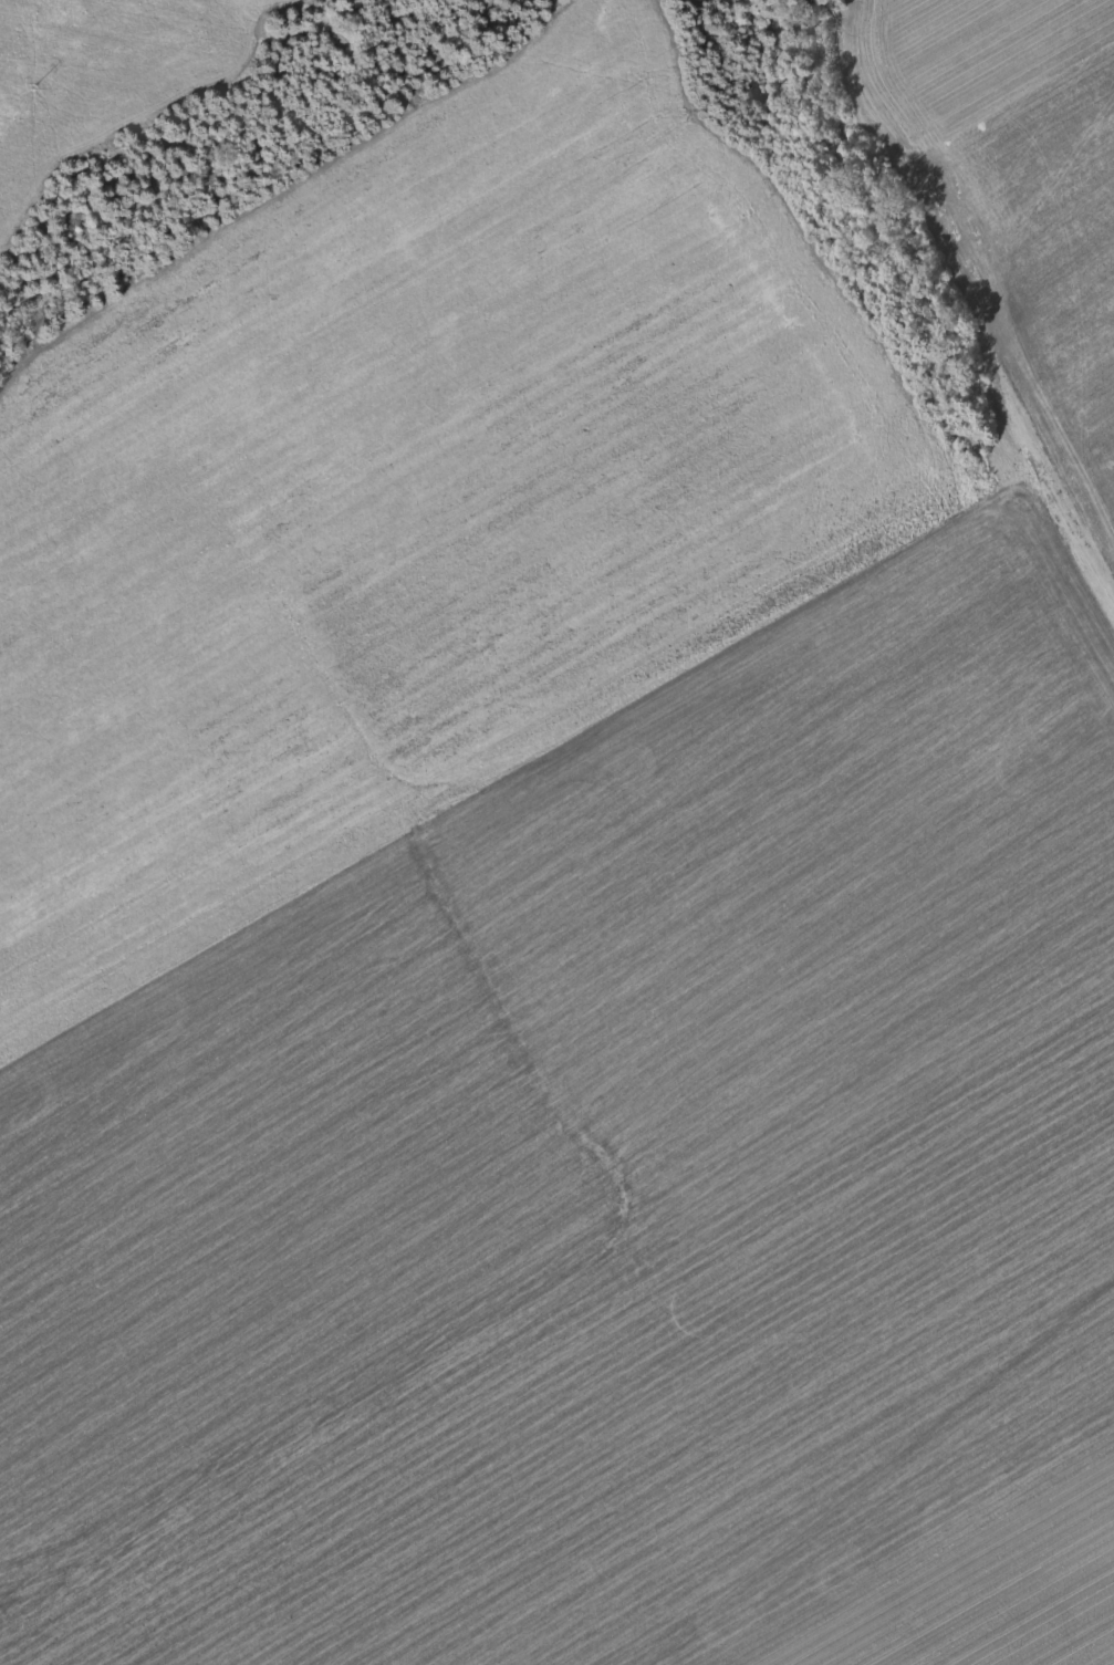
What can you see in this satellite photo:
road: (1040, 470)

